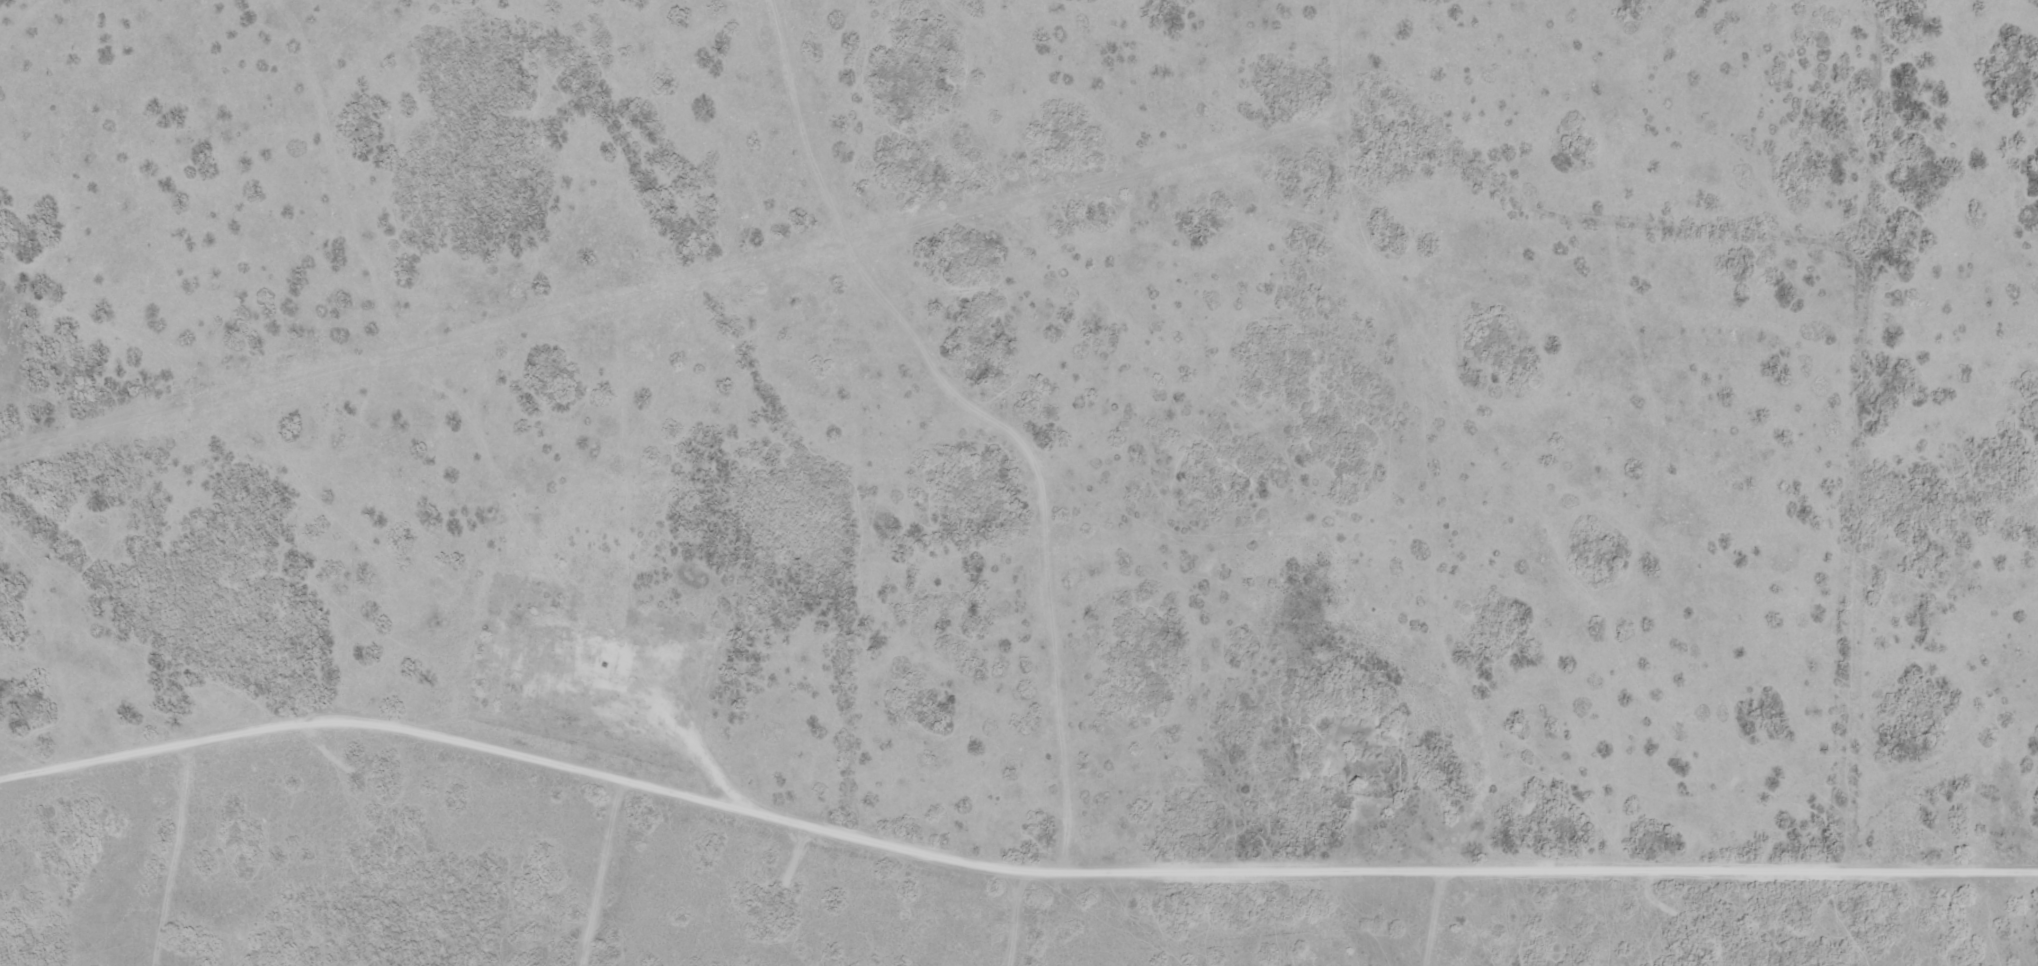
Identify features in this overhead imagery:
road: (627, 877)
road: (1007, 885)

